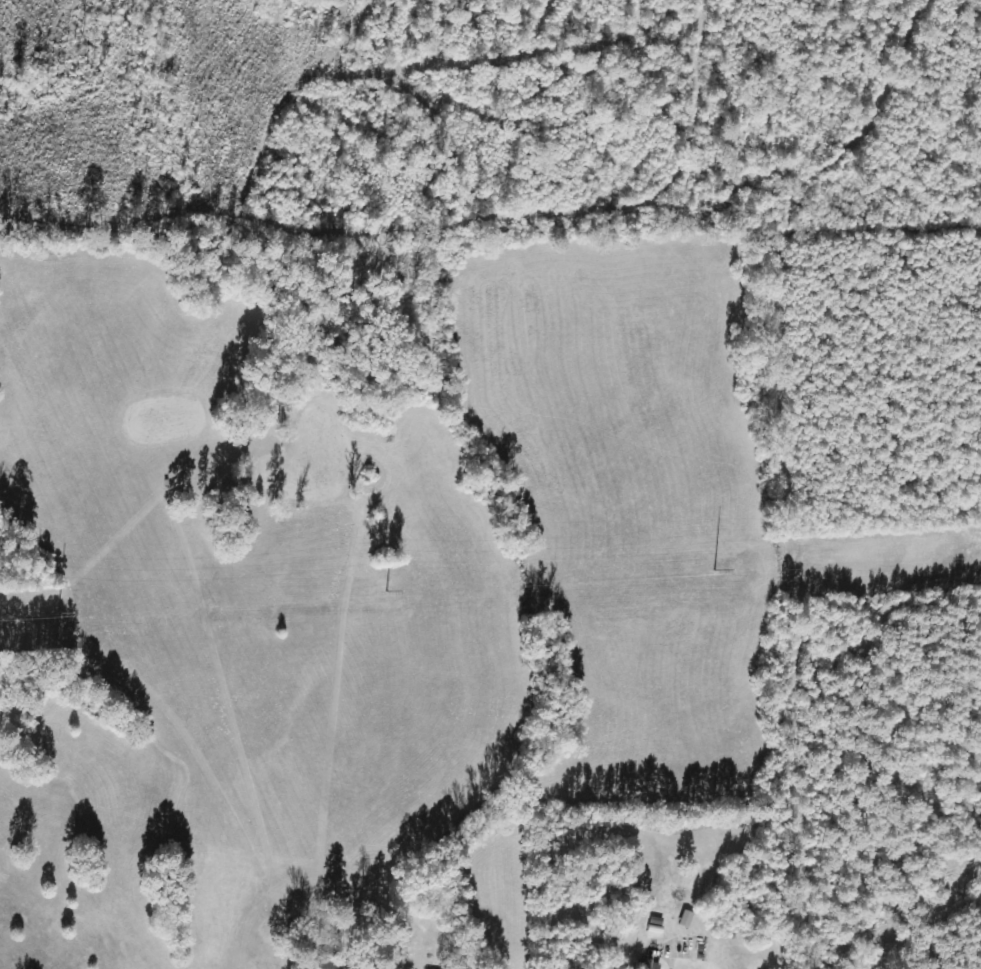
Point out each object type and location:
power tower: (835, 566)
power tower: (626, 580)
power tower: (385, 595)
power tower: (73, 616)
building: (686, 919)
road: (233, 949)
building: (651, 965)

